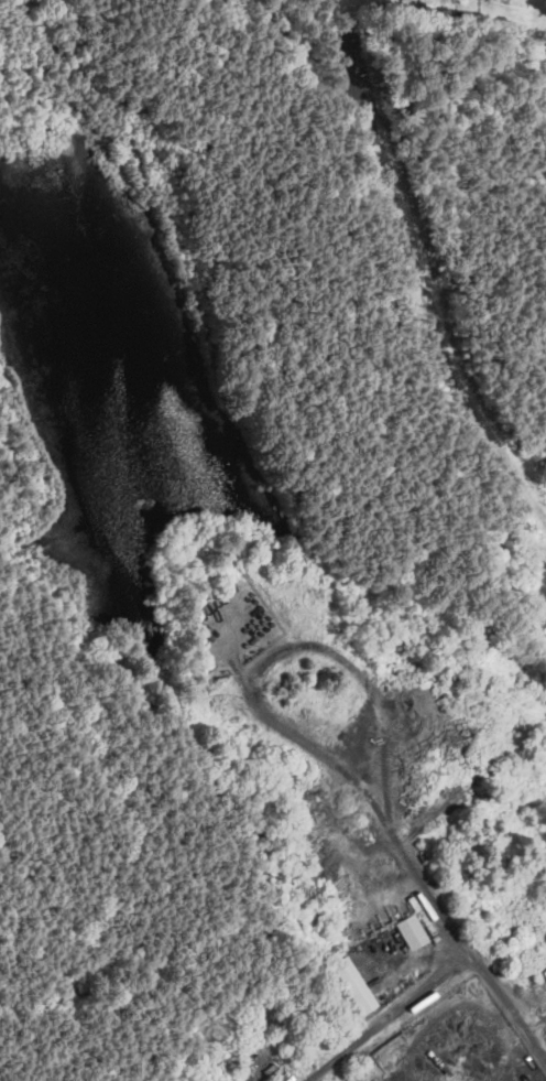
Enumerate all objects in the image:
road: (310, 61)
road: (455, 185)
road: (282, 651)
road: (54, 670)
road: (208, 694)
road: (168, 707)
road: (144, 709)
road: (165, 872)
road: (457, 921)
building: (412, 930)
building: (354, 984)
road: (398, 1017)

